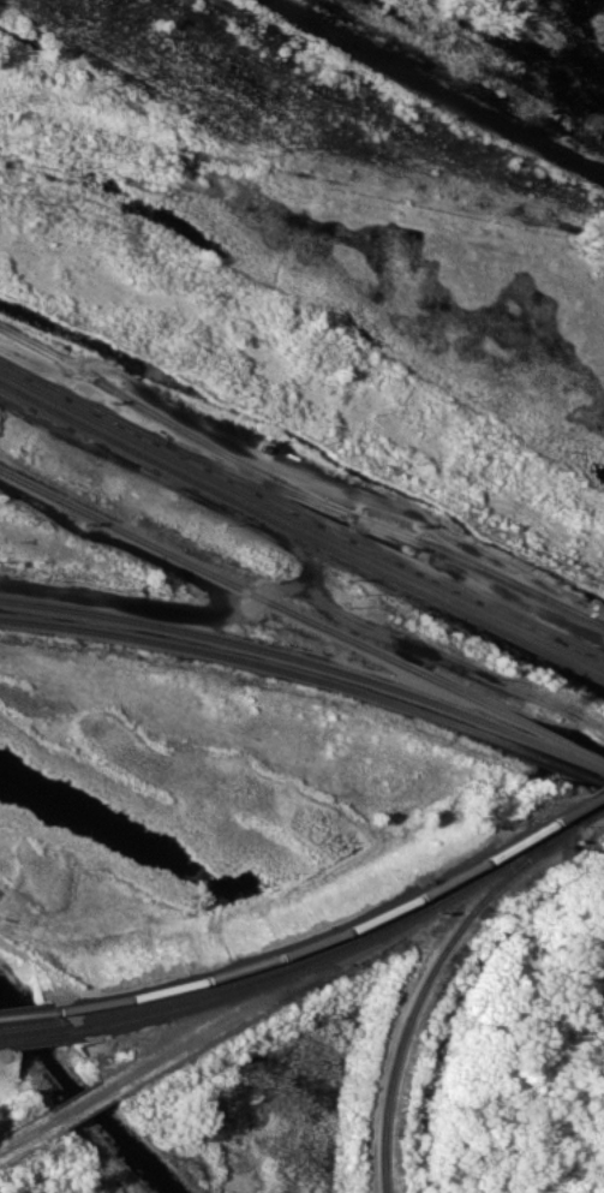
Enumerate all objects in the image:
railway: (80, 400)
railway: (300, 520)
railway: (385, 526)
railway: (300, 533)
railway: (383, 548)
railway: (300, 615)
railway: (307, 662)
railway: (306, 680)
railway: (599, 791)
railway: (472, 878)
railway: (339, 931)
railway: (432, 966)
railway: (205, 998)
railway: (30, 1013)
railway: (35, 1036)
landfill: (2, 1097)
railway: (88, 1098)

